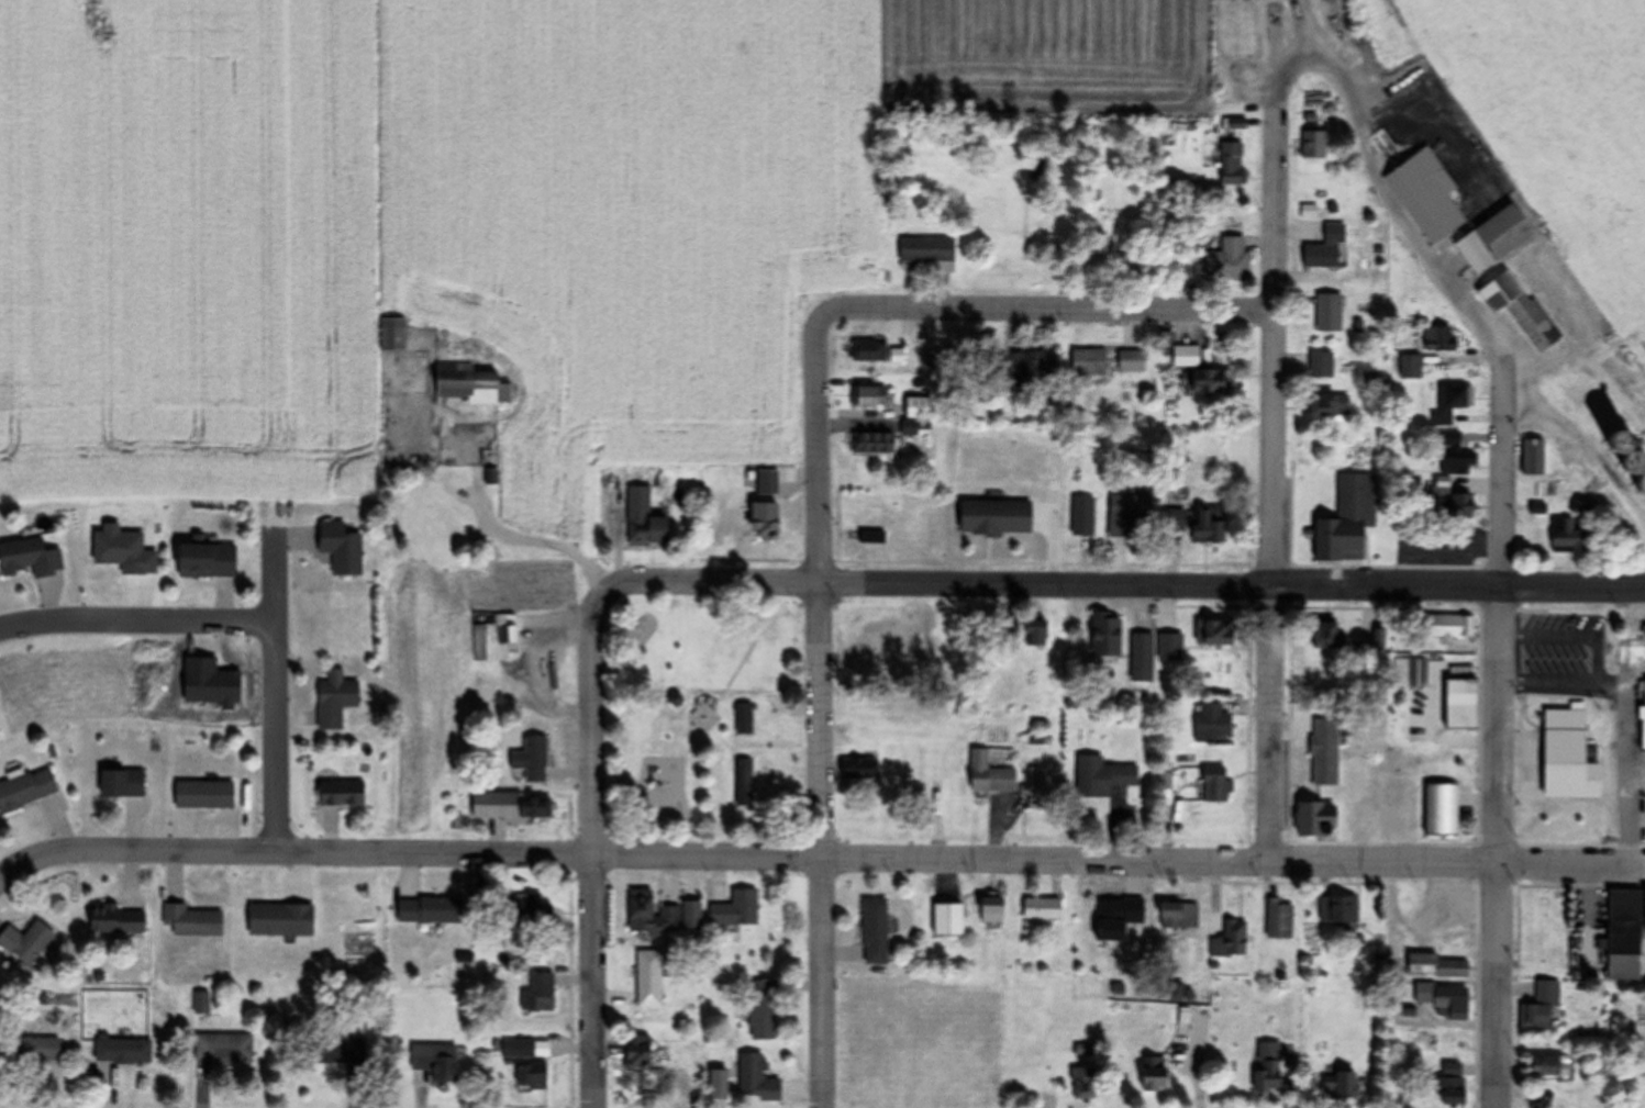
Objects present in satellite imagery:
building: (1236, 124)
building: (1312, 145)
building: (1232, 164)
building: (1425, 194)
building: (1492, 239)
building: (1325, 248)
building: (926, 250)
building: (1226, 260)
building: (1520, 305)
road: (1048, 307)
building: (1329, 312)
building: (392, 334)
building: (1437, 339)
building: (869, 351)
building: (1186, 356)
building: (1131, 361)
building: (1088, 362)
building: (1029, 365)
building: (1321, 365)
building: (1410, 367)
building: (1210, 382)
building: (468, 384)
building: (870, 396)
building: (1448, 404)
building: (1327, 405)
building: (915, 412)
building: (874, 444)
building: (1454, 456)
building: (1533, 458)
building: (766, 482)
road: (1274, 482)
building: (1453, 500)
building: (1127, 516)
building: (1082, 517)
building: (1351, 518)
building: (432, 521)
building: (643, 521)
building: (763, 524)
building: (1208, 528)
building: (1567, 536)
building: (868, 537)
building: (30, 559)
building: (203, 562)
road: (1123, 585)
road: (136, 622)
building: (1446, 627)
building: (1644, 630)
building: (1007, 634)
building: (1214, 634)
building: (1034, 635)
building: (1325, 637)
building: (1105, 639)
building: (1379, 639)
building: (491, 641)
building: (1141, 659)
building: (1416, 674)
road: (274, 689)
building: (334, 703)
building: (1459, 706)
road: (819, 712)
building: (1644, 718)
building: (743, 719)
building: (1210, 724)
building: (1565, 738)
road: (1502, 743)
building: (1324, 752)
building: (531, 760)
building: (857, 770)
building: (989, 775)
building: (1101, 777)
building: (743, 783)
building: (120, 785)
building: (1213, 785)
building: (1034, 787)
building: (26, 791)
building: (340, 794)
building: (203, 795)
building: (488, 806)
building: (532, 808)
building: (1441, 812)
building: (1320, 819)
road: (591, 846)
road: (819, 857)
building: (1042, 908)
building: (1338, 908)
building: (735, 909)
building: (990, 909)
building: (531, 913)
building: (651, 915)
building: (1178, 915)
building: (690, 916)
building: (1116, 917)
building: (113, 918)
building: (279, 919)
building: (947, 919)
building: (1279, 919)
building: (191, 920)
building: (874, 931)
building: (1623, 934)
building: (1229, 938)
building: (25, 942)
building: (1418, 960)
building: (648, 977)
building: (537, 993)
building: (1182, 995)
building: (1443, 1000)
building: (201, 1003)
building: (1544, 1008)
building: (763, 1010)
building: (516, 1048)
building: (223, 1049)
building: (29, 1050)
building: (122, 1050)
building: (337, 1050)
building: (636, 1053)
building: (432, 1063)
building: (1549, 1065)
building: (1267, 1067)
building: (531, 1075)
building: (1153, 1075)
building: (755, 1078)
building: (1337, 1081)
building: (716, 1083)
building: (1082, 1083)
building: (1449, 1084)

